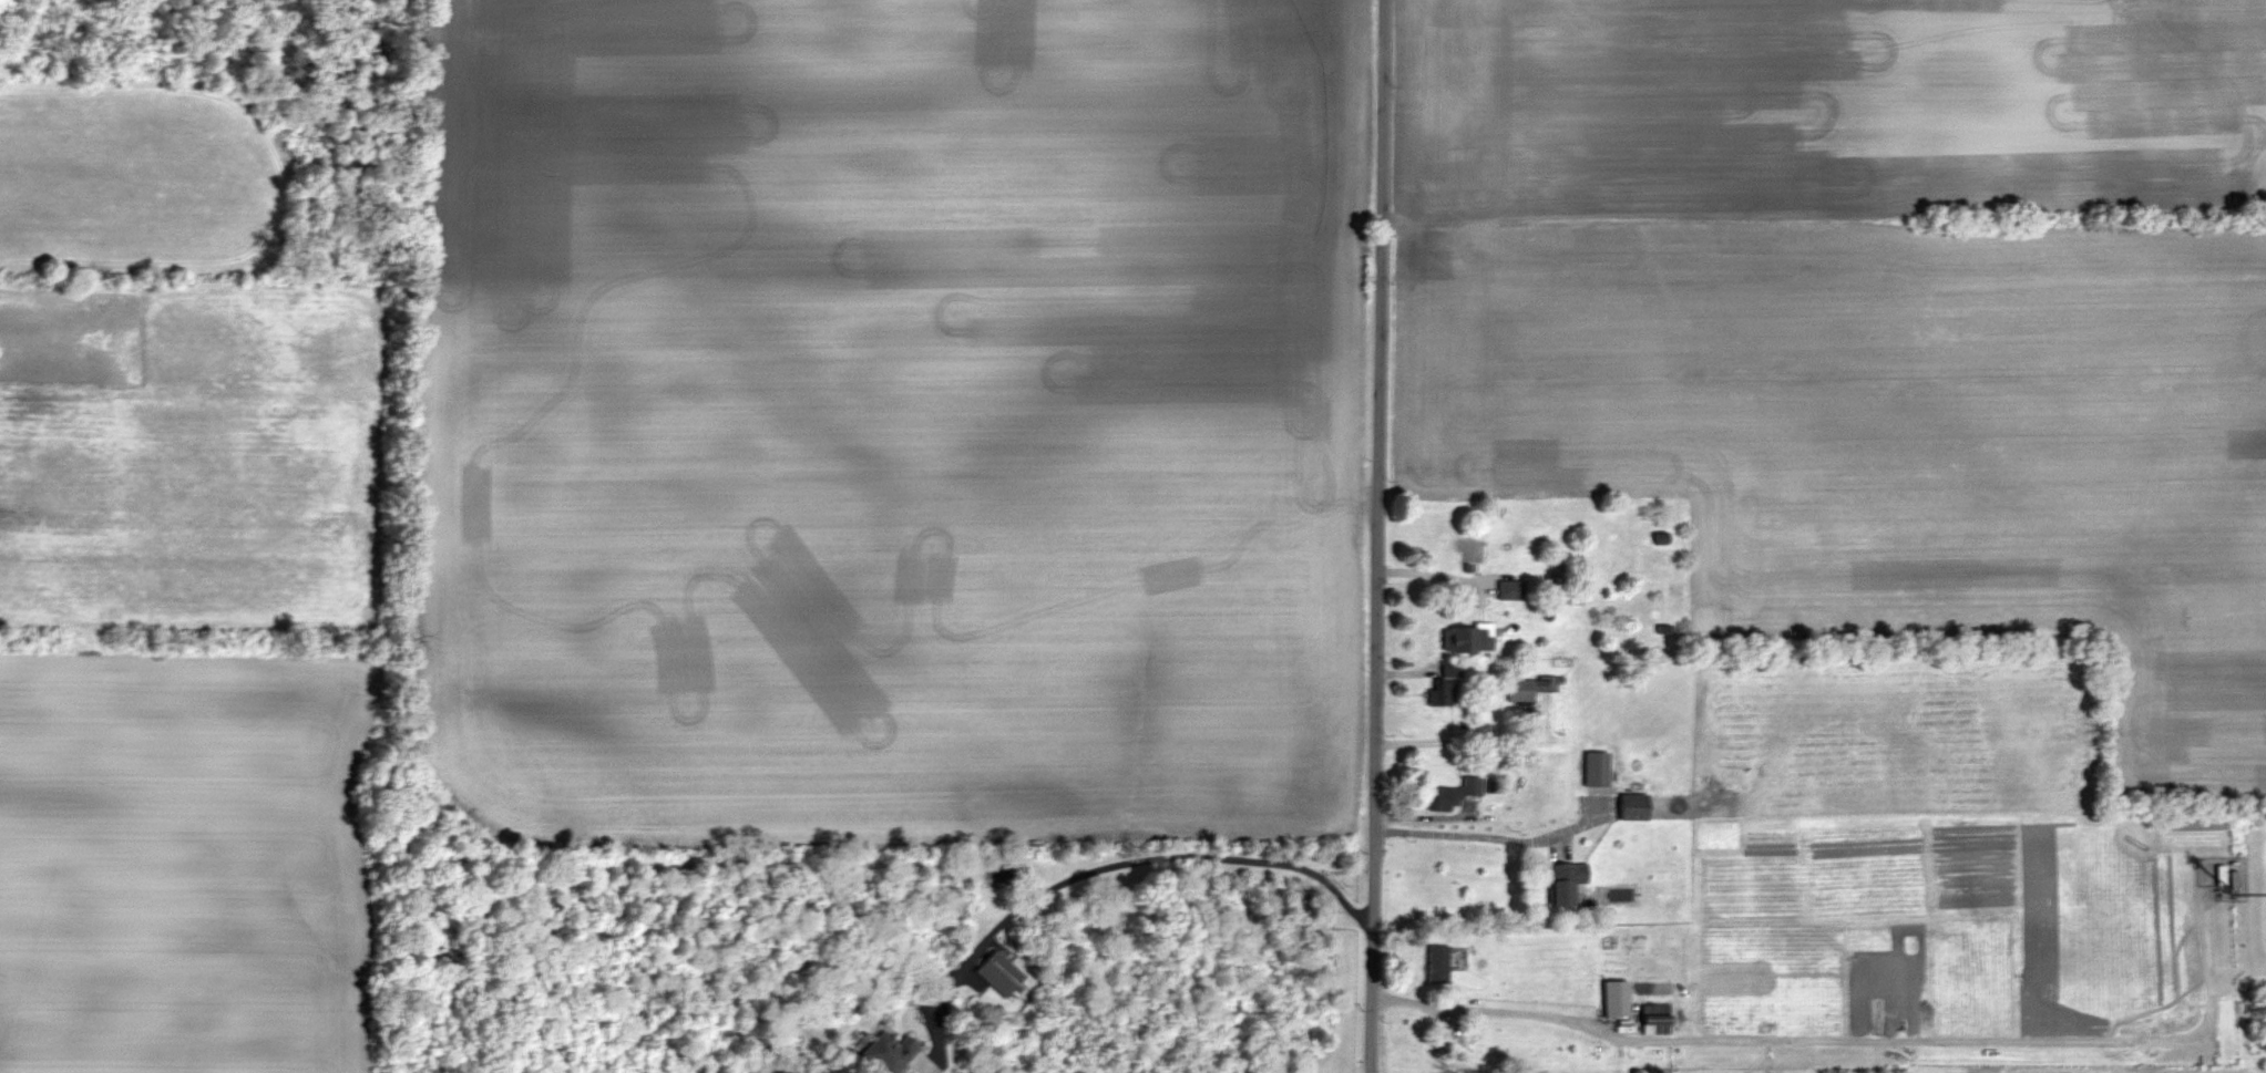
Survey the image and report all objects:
road: (1376, 536)
building: (1661, 538)
building: (1510, 589)
building: (1466, 638)
building: (1445, 684)
building: (1528, 688)
road: (1457, 739)
building: (1597, 768)
building: (1452, 795)
building: (1633, 806)
road: (1483, 837)
road: (1110, 866)
building: (2216, 875)
building: (1563, 883)
building: (1437, 963)
building: (999, 974)
building: (1617, 998)
road: (1849, 1042)
building: (889, 1053)

